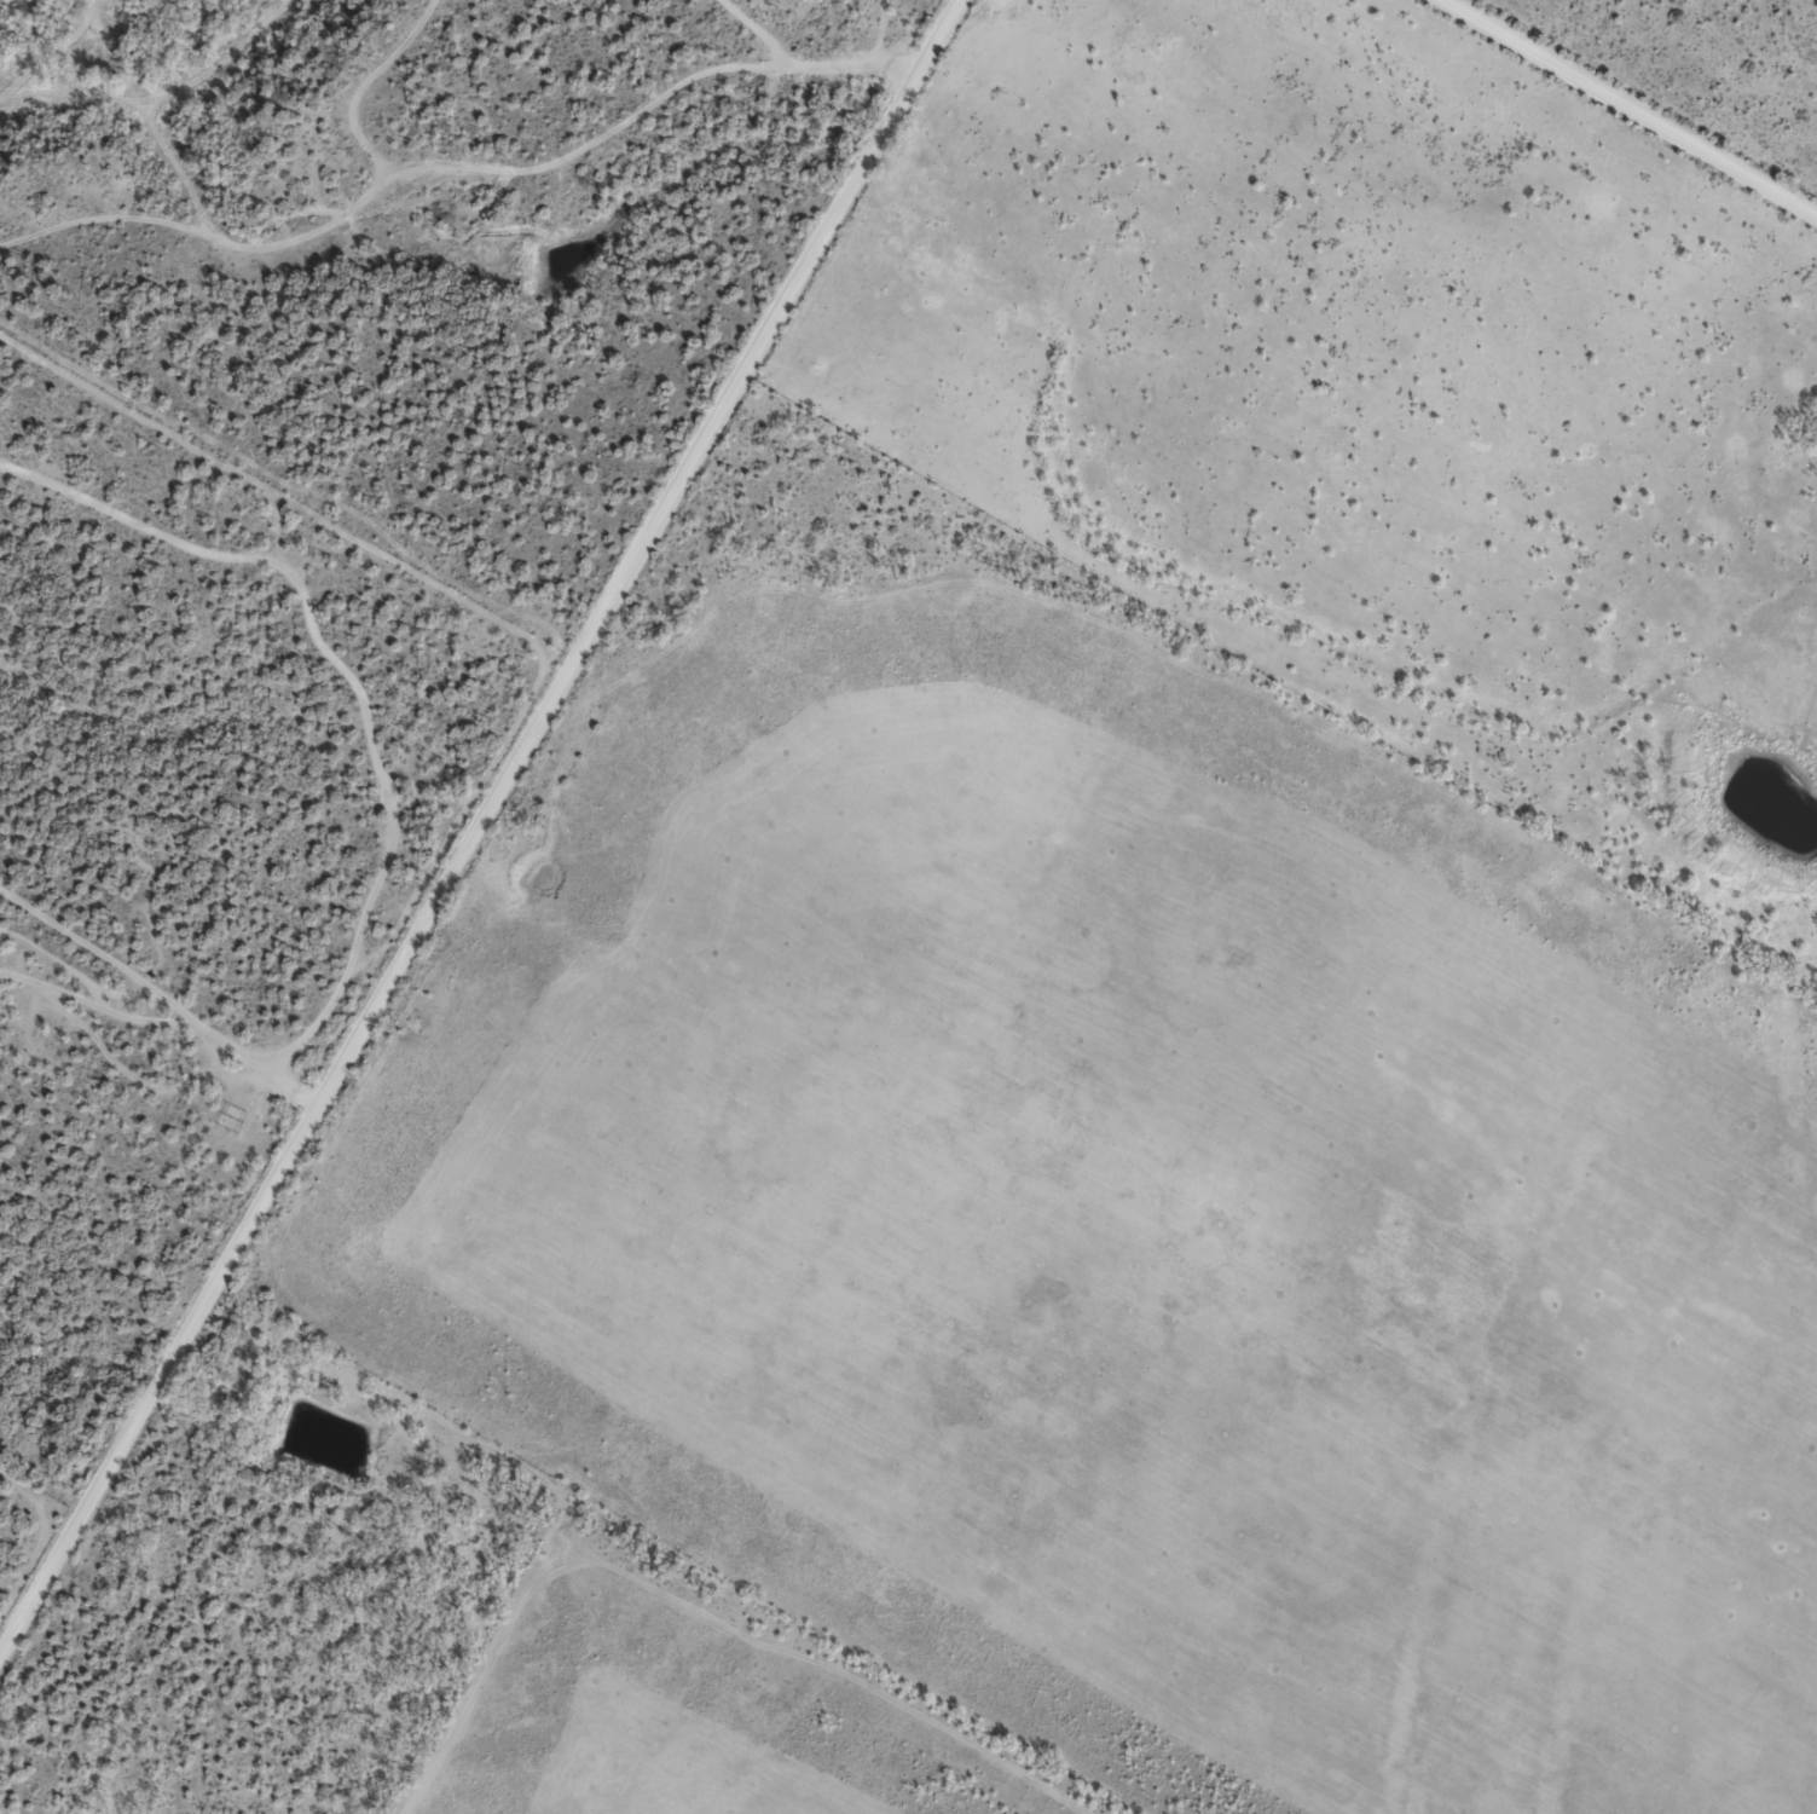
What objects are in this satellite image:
road: (1651, 99)
road: (468, 195)
road: (487, 867)
road: (706, 1558)

